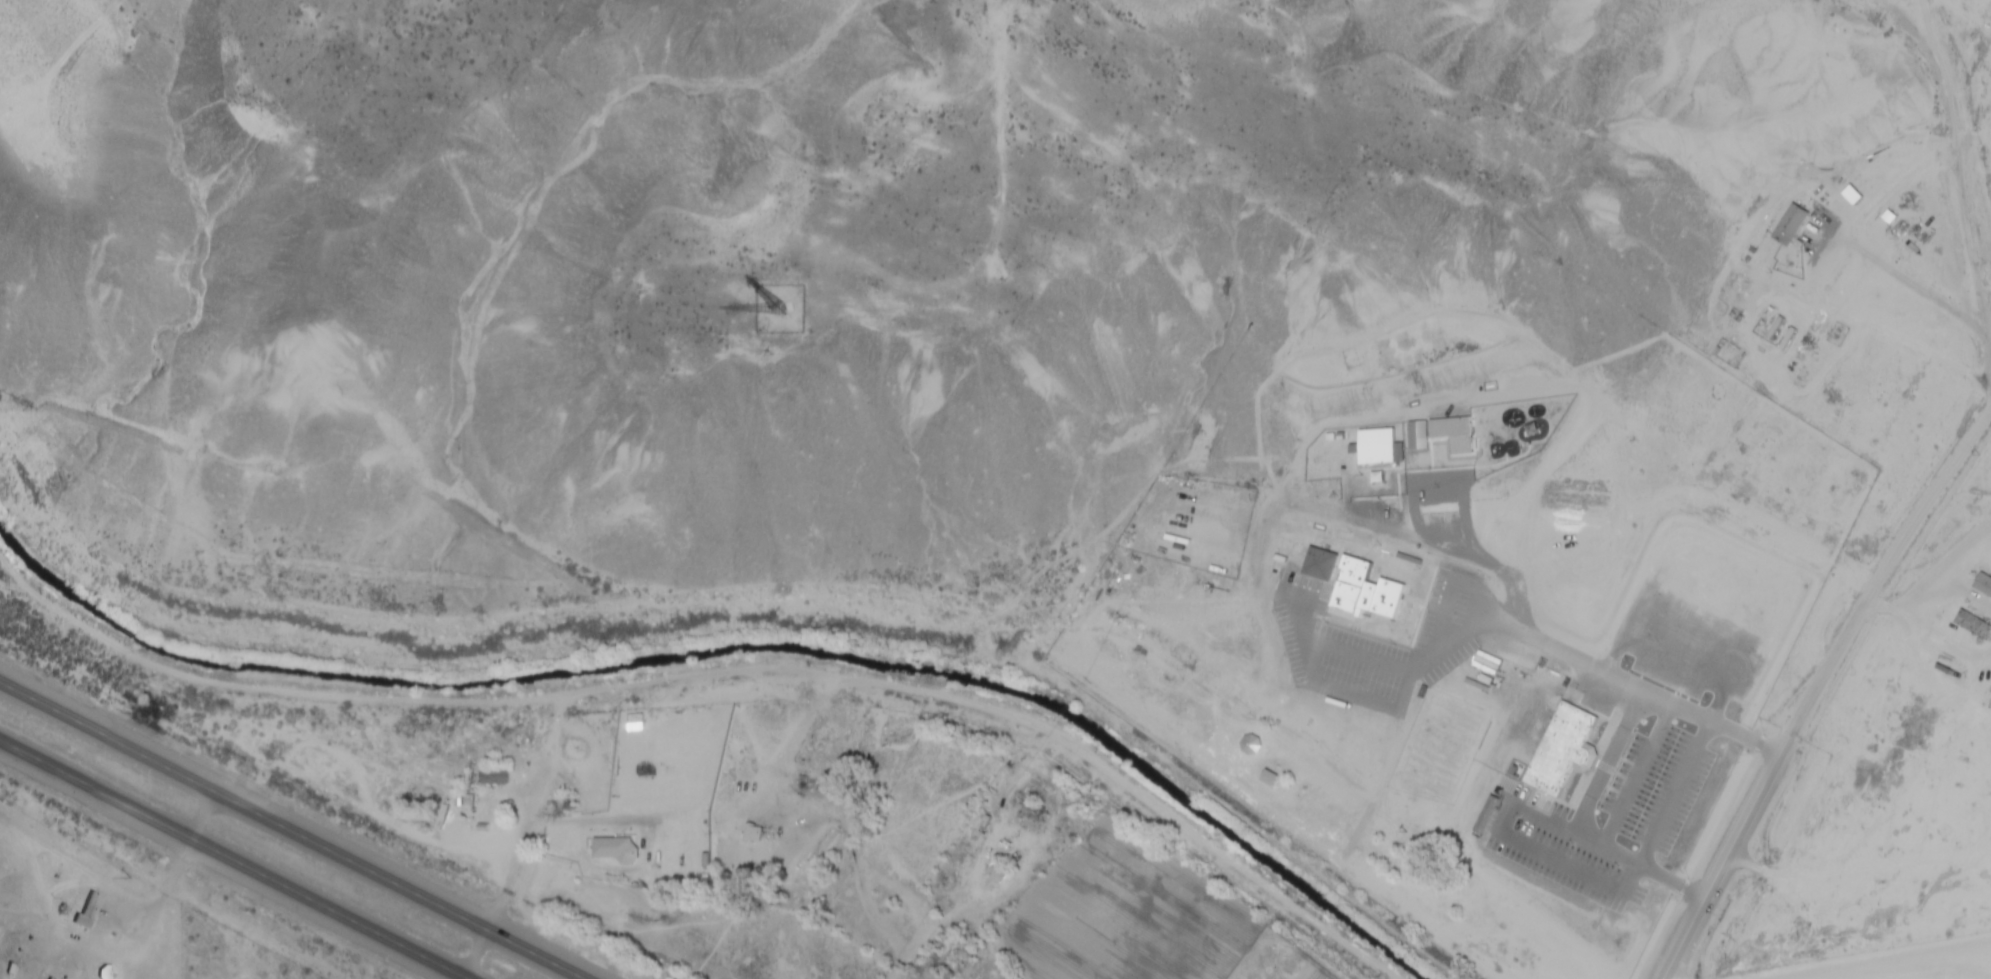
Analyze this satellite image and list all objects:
building: (1852, 195)
building: (1790, 225)
building: (1439, 433)
building: (1375, 445)
building: (1219, 498)
building: (1195, 537)
building: (1354, 584)
building: (1983, 584)
building: (1161, 600)
building: (1974, 625)
road: (1817, 691)
building: (1563, 749)
building: (498, 775)
road: (291, 830)
building: (620, 849)
road: (231, 860)
building: (996, 871)
road: (1828, 960)
road: (1665, 977)

